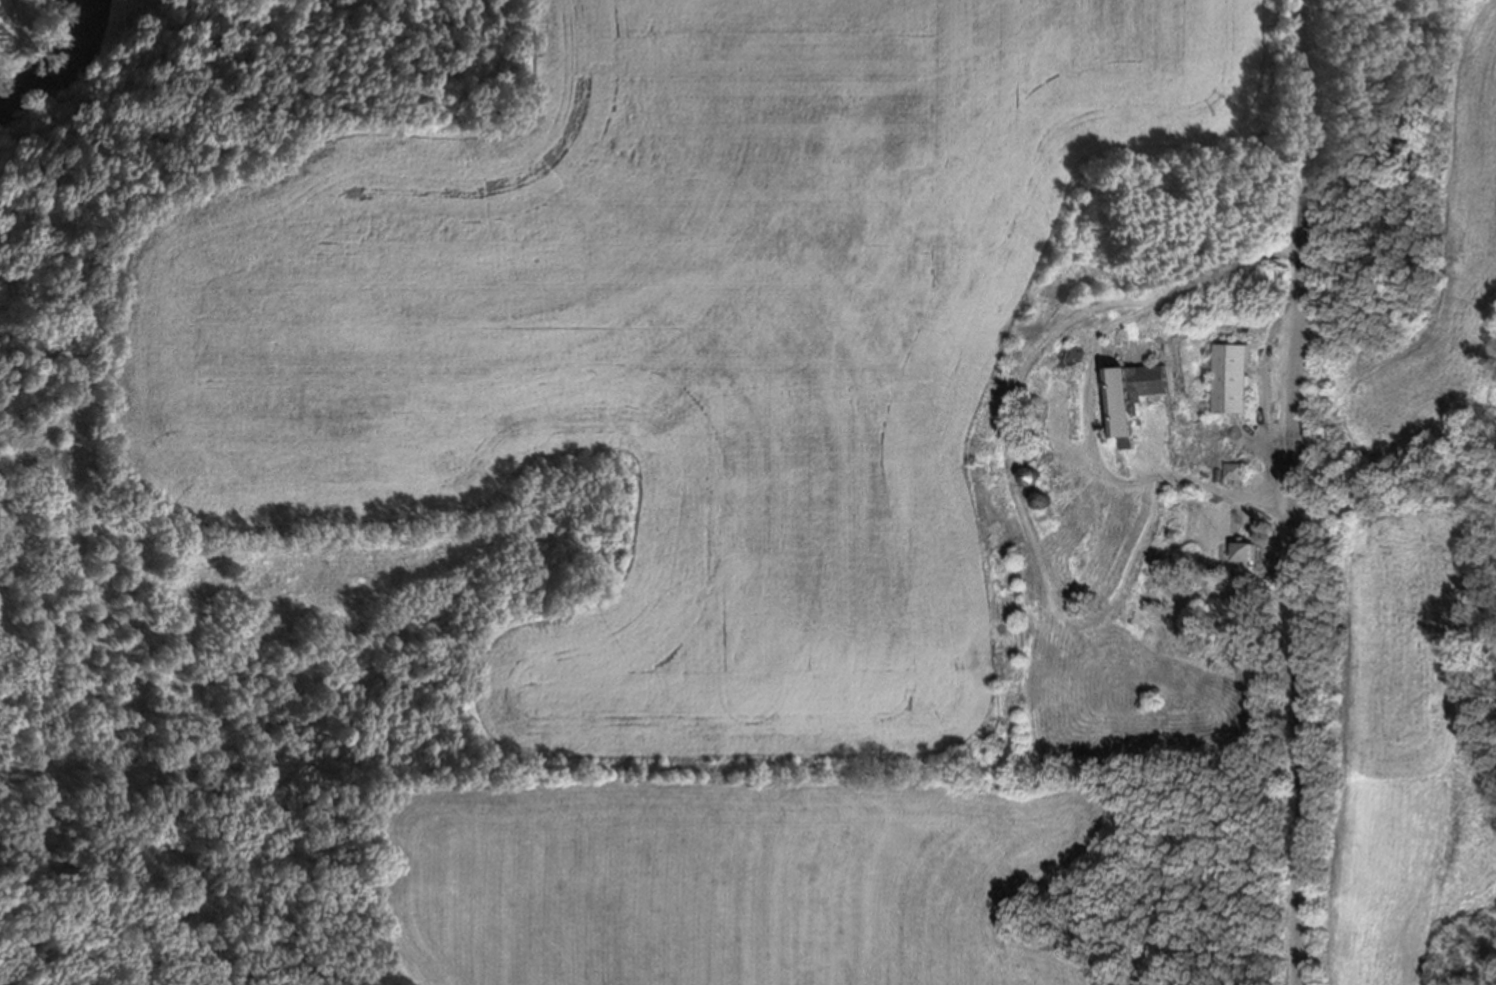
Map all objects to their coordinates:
road: (6, 11)
park: (22, 34)
river: (37, 57)
building: (1227, 379)
building: (1126, 397)
building: (1060, 413)
building: (1174, 440)
building: (1232, 472)
building: (1025, 478)
road: (1295, 492)
building: (1035, 502)
building: (1145, 504)
building: (1099, 524)
building: (1243, 554)

